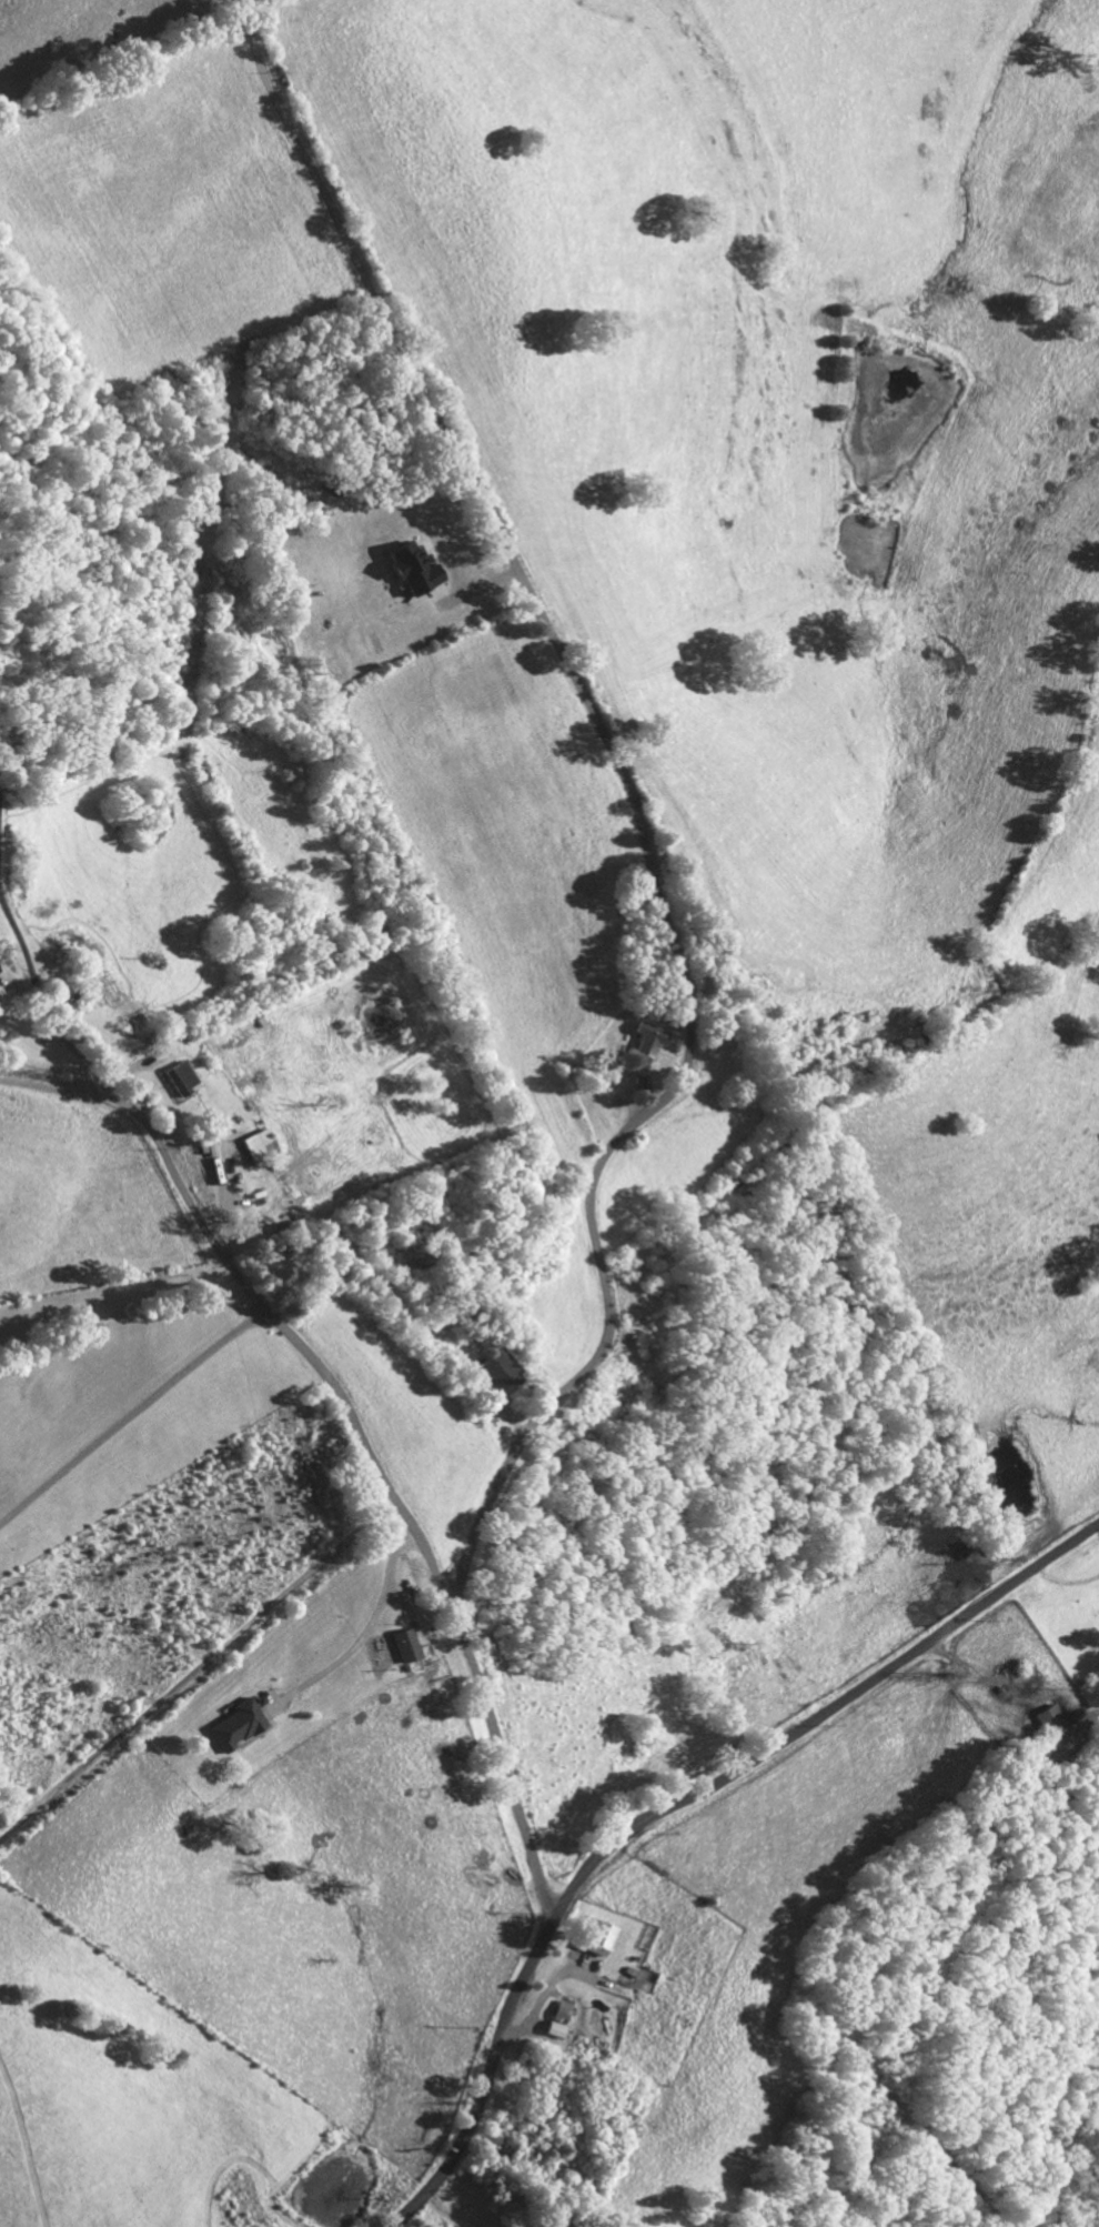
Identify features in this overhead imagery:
building: (411, 566)
road: (1004, 924)
road: (678, 964)
building: (647, 1036)
building: (177, 1077)
road: (58, 1087)
building: (253, 1144)
road: (224, 1255)
building: (494, 1371)
road: (132, 1415)
road: (370, 1621)
building: (400, 1644)
road: (198, 1667)
building: (1046, 1715)
building: (234, 1723)
road: (669, 1805)
road: (369, 2146)

